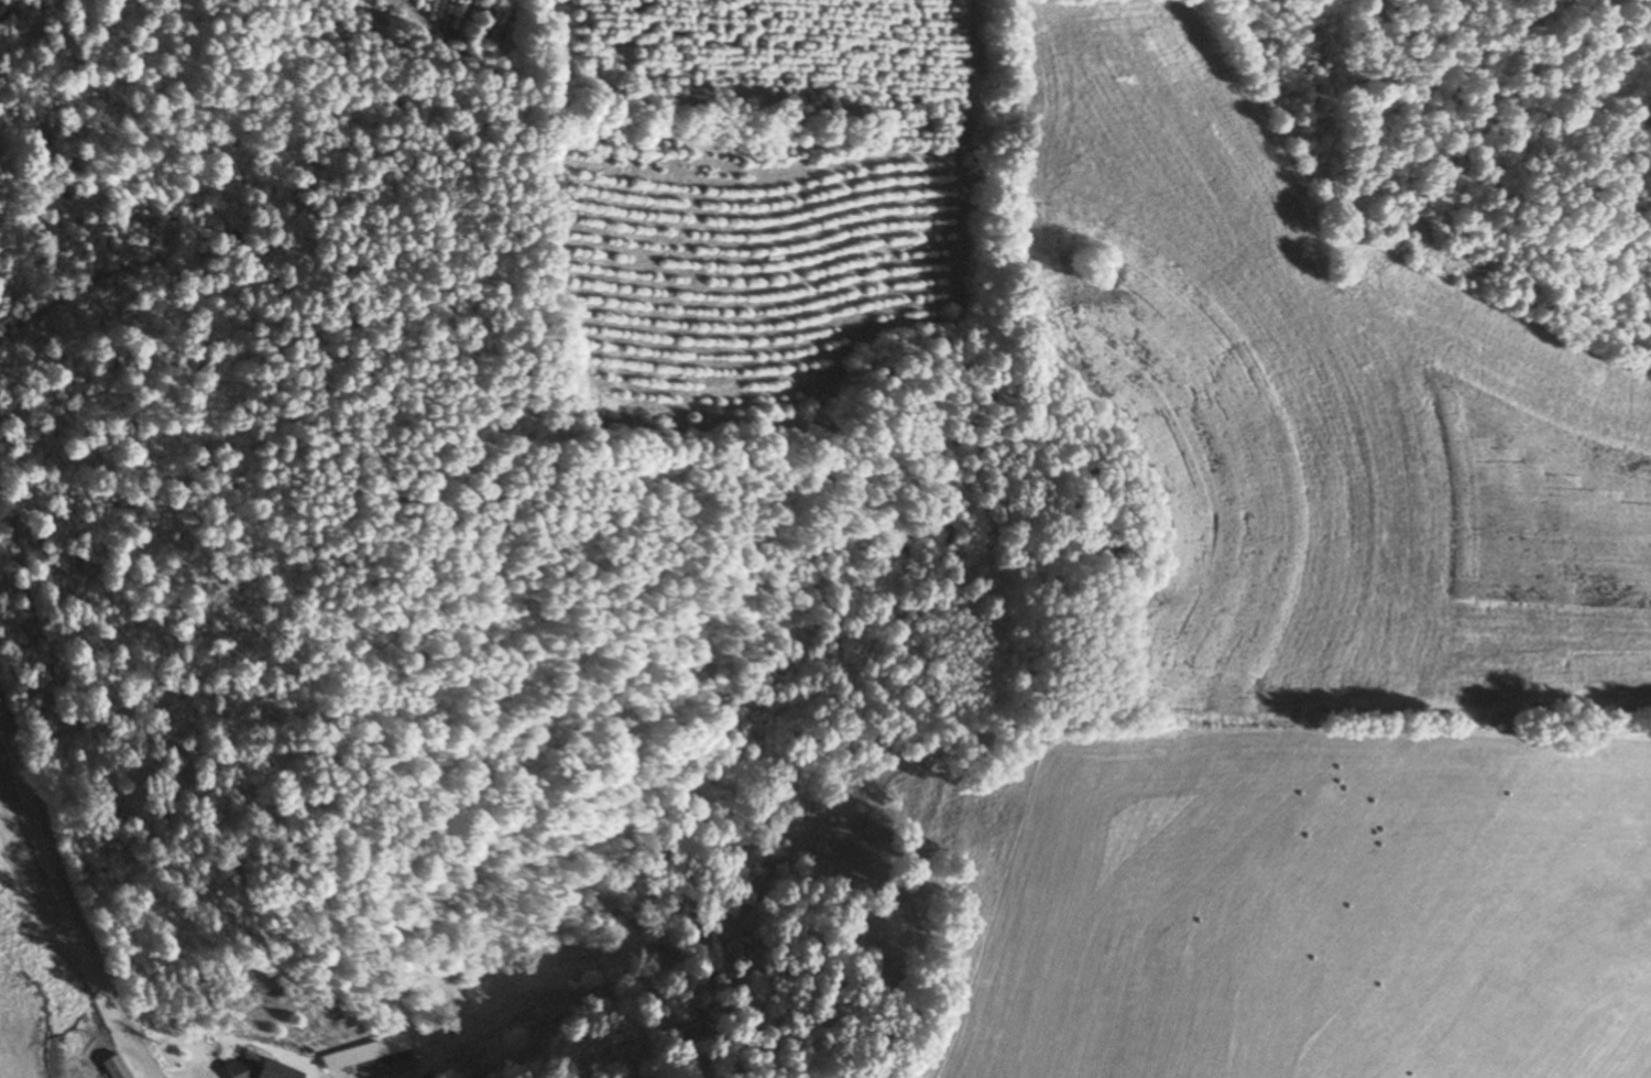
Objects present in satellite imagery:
crop: (447, 24)
crop: (750, 271)
crop: (1314, 415)
crop: (2, 726)
road: (69, 900)
crop: (1310, 905)
crop: (34, 945)
building: (369, 1058)
building: (114, 1067)
building: (258, 1069)

